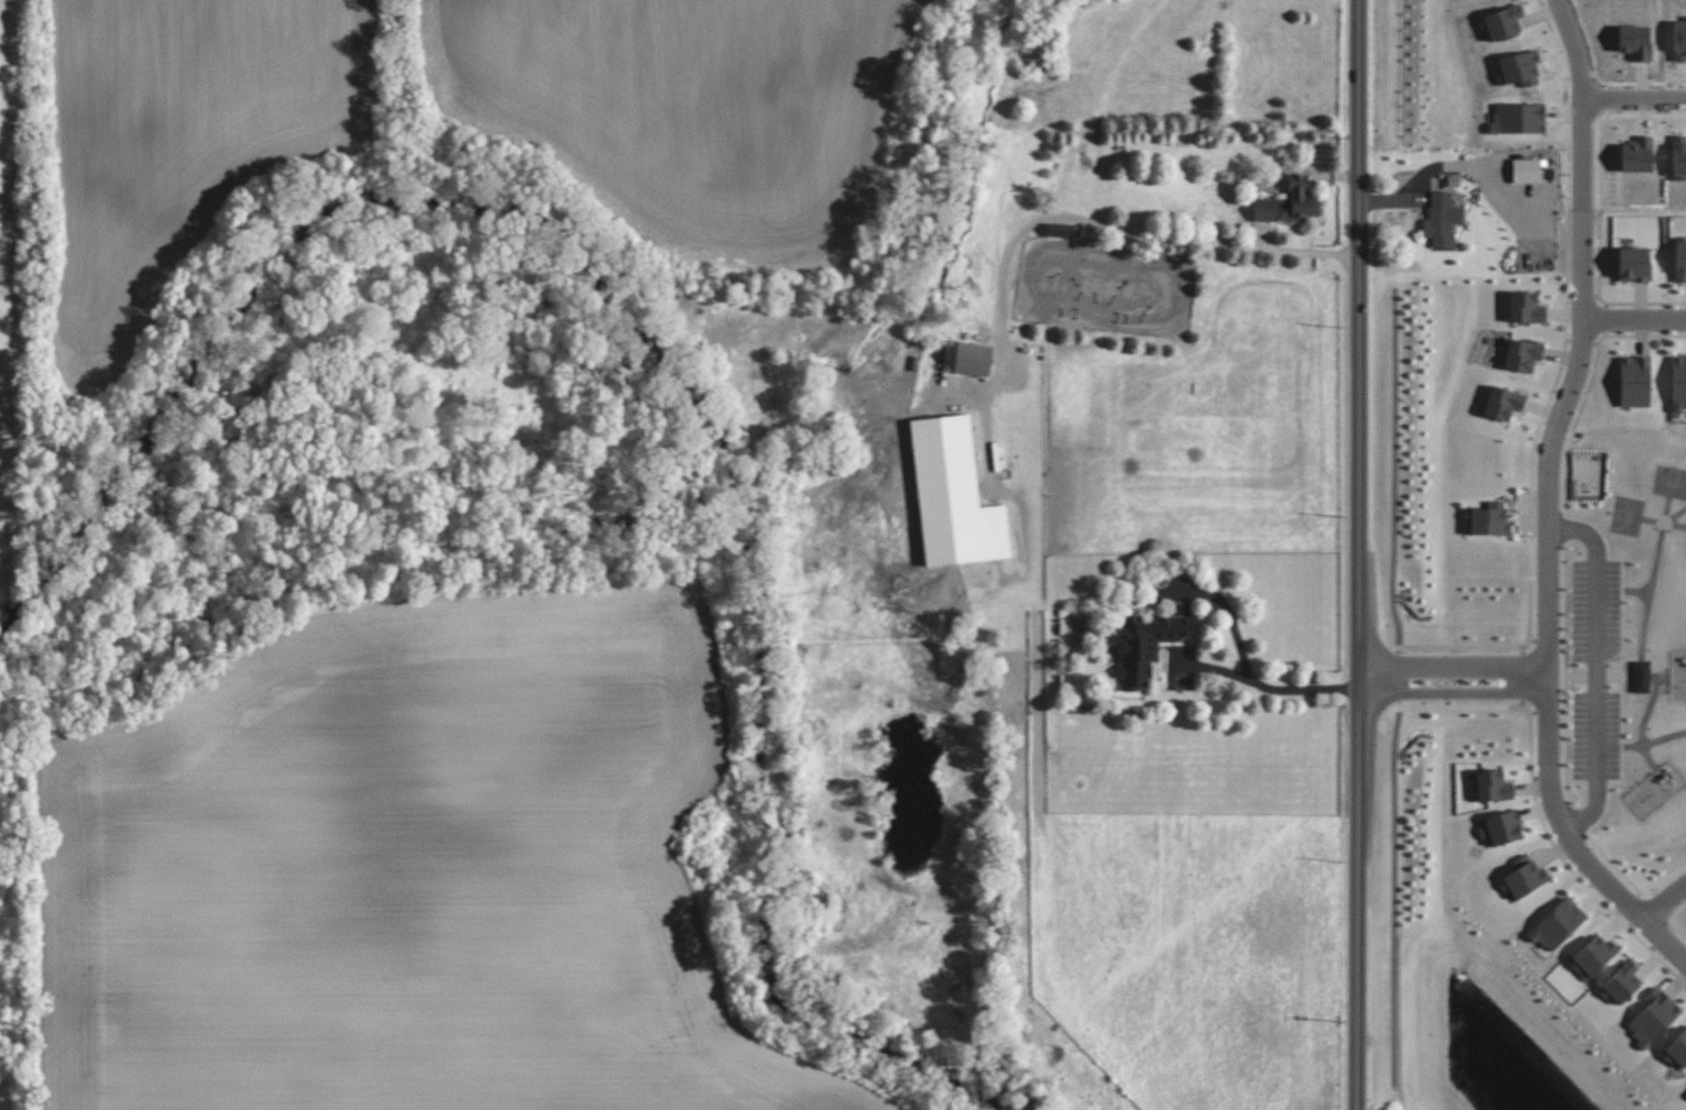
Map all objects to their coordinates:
road: (1584, 105)
road: (1634, 105)
building: (1526, 171)
building: (1289, 202)
building: (1442, 219)
road: (1131, 229)
building: (1060, 230)
building: (1683, 257)
road: (1598, 263)
building: (1639, 263)
road: (1581, 295)
road: (1645, 303)
building: (1530, 307)
road: (1606, 319)
road: (1634, 319)
road: (1581, 342)
building: (1526, 353)
building: (967, 358)
building: (1682, 377)
building: (1640, 378)
building: (1508, 400)
road: (1552, 442)
road: (1532, 465)
road: (1394, 466)
park: (1669, 484)
building: (954, 495)
park: (1627, 518)
building: (1493, 520)
road: (1563, 526)
road: (1359, 554)
road: (1624, 594)
building: (1145, 644)
road: (1460, 646)
park: (1628, 647)
road: (1643, 656)
road: (1453, 667)
road: (1598, 668)
road: (1522, 675)
road: (1534, 675)
building: (1641, 677)
road: (1399, 678)
road: (1372, 679)
road: (1620, 680)
road: (1263, 684)
road: (1454, 691)
road: (1460, 707)
road: (1623, 749)
building: (1498, 785)
road: (1577, 822)
building: (1509, 826)
road: (1569, 839)
road: (1566, 864)
building: (1529, 875)
road: (1632, 883)
road: (1394, 895)
road: (1664, 900)
building: (1562, 920)
road: (1673, 921)
building: (1598, 950)
building: (1625, 980)
building: (1661, 1012)
building: (1679, 1048)

